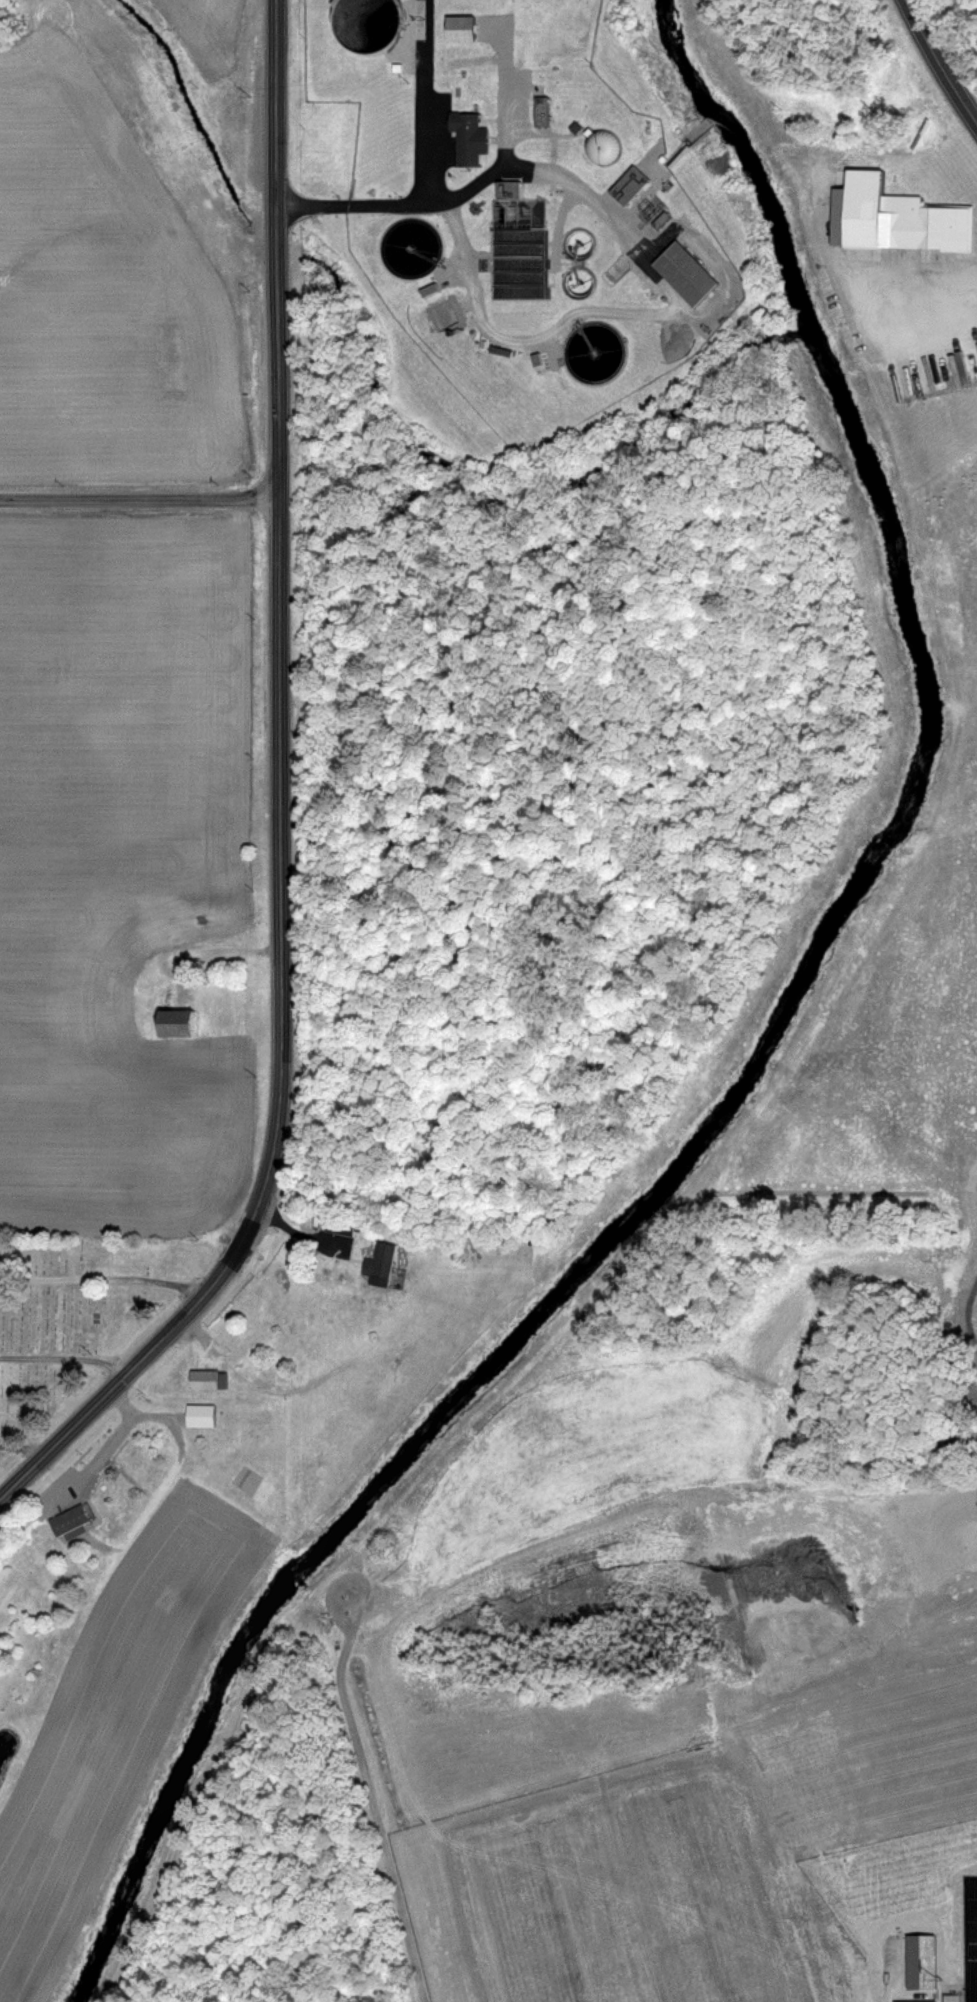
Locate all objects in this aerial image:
building: (361, 25)
building: (456, 29)
road: (937, 67)
road: (429, 101)
building: (467, 137)
road: (519, 161)
wastewater plant: (520, 199)
building: (920, 224)
building: (679, 273)
road: (916, 291)
building: (593, 353)
road: (139, 496)
crop: (124, 606)
road: (279, 762)
building: (172, 1023)
river: (744, 1058)
building: (344, 1225)
road: (299, 1232)
building: (382, 1264)
road: (105, 1275)
building: (252, 1302)
road: (966, 1316)
park: (75, 1319)
road: (66, 1351)
building: (210, 1378)
road: (121, 1400)
building: (201, 1414)
road: (112, 1437)
road: (26, 1443)
road: (26, 1468)
building: (72, 1519)
park: (920, 1761)
road: (300, 1854)
road: (384, 1858)
park: (727, 1887)
park: (523, 1910)
track: (971, 1939)
road: (963, 1985)

